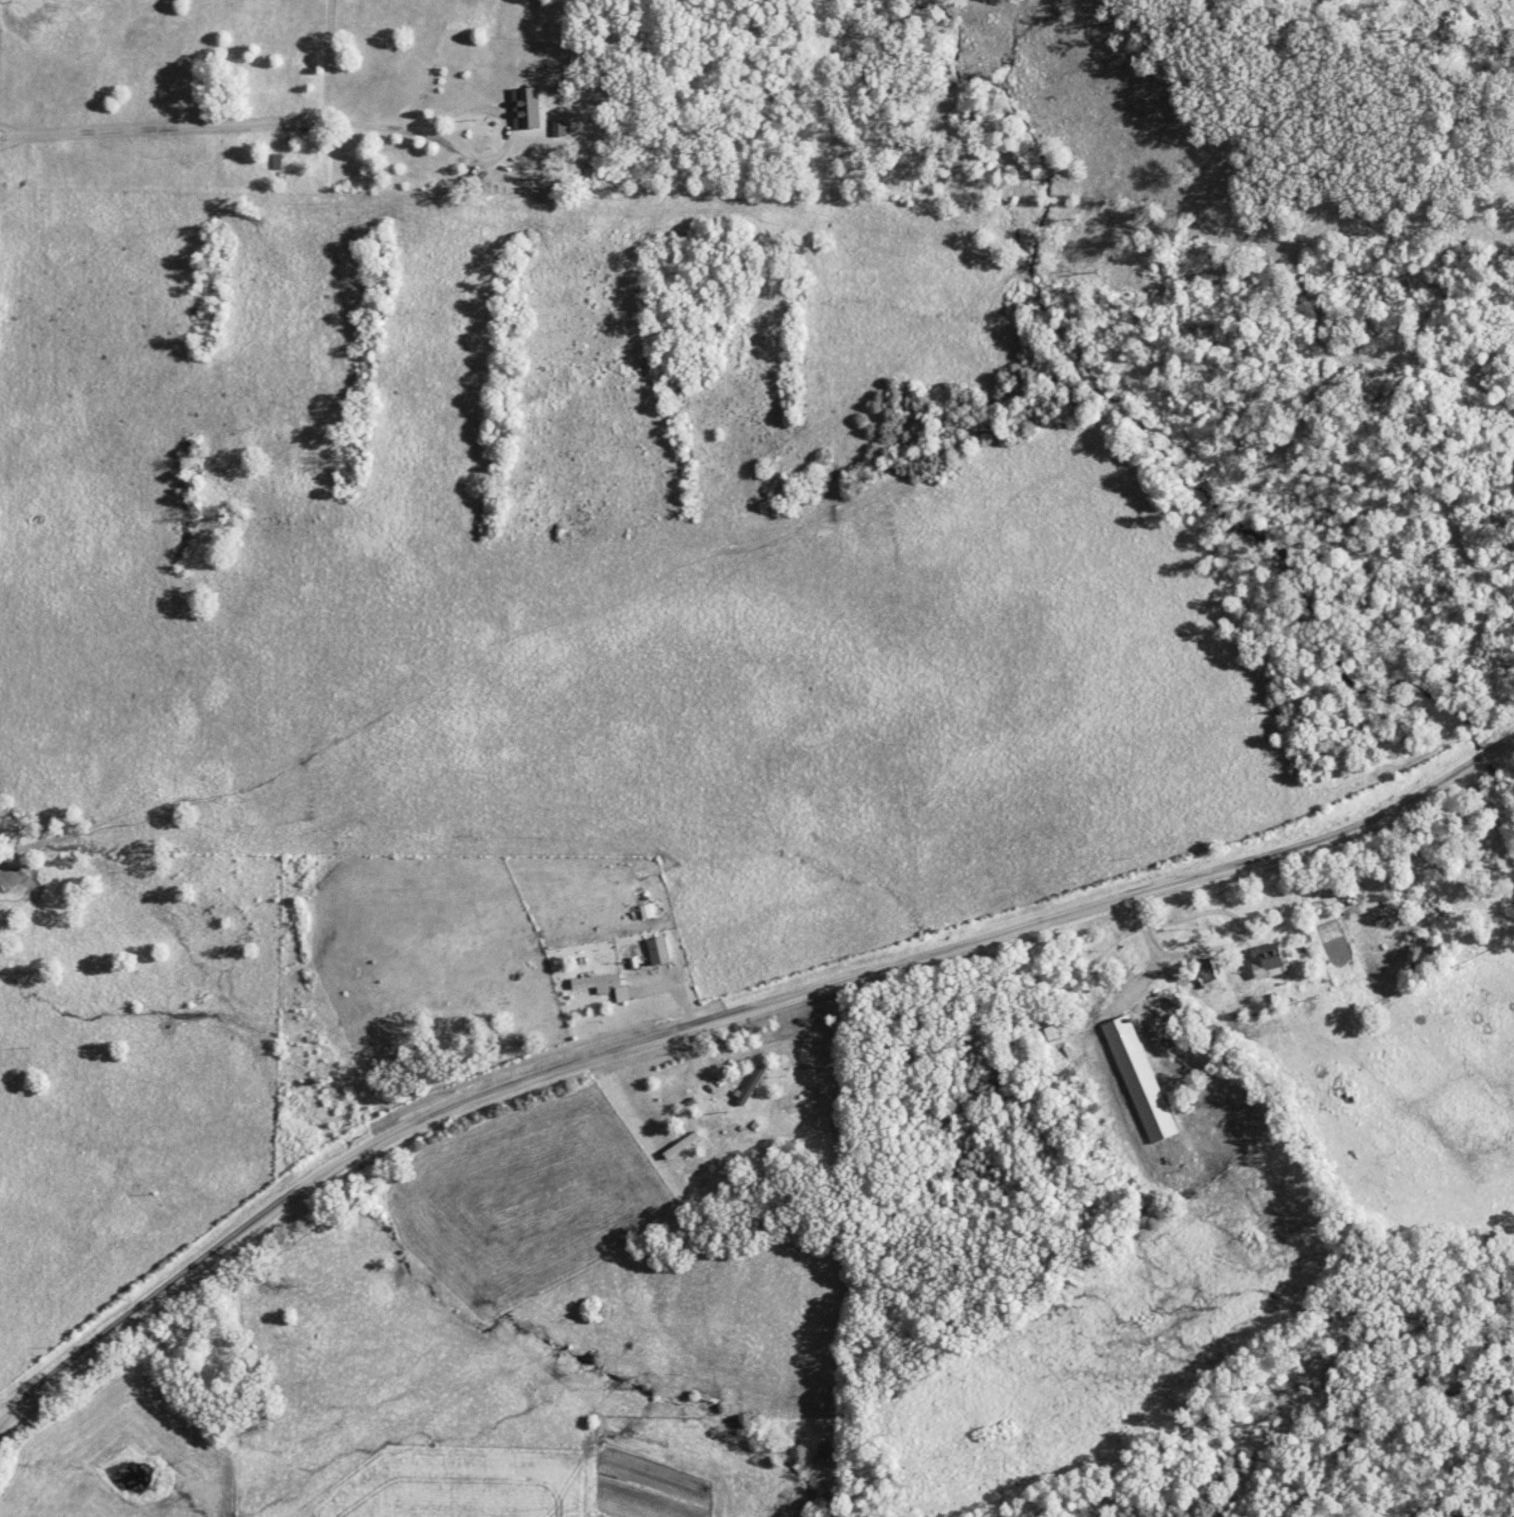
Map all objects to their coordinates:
building: (527, 109)
road: (209, 121)
building: (561, 129)
road: (509, 146)
road: (1146, 905)
road: (1141, 925)
building: (660, 952)
building: (1270, 962)
building: (597, 984)
building: (623, 995)
road: (723, 1015)
road: (703, 1052)
building: (1141, 1081)

